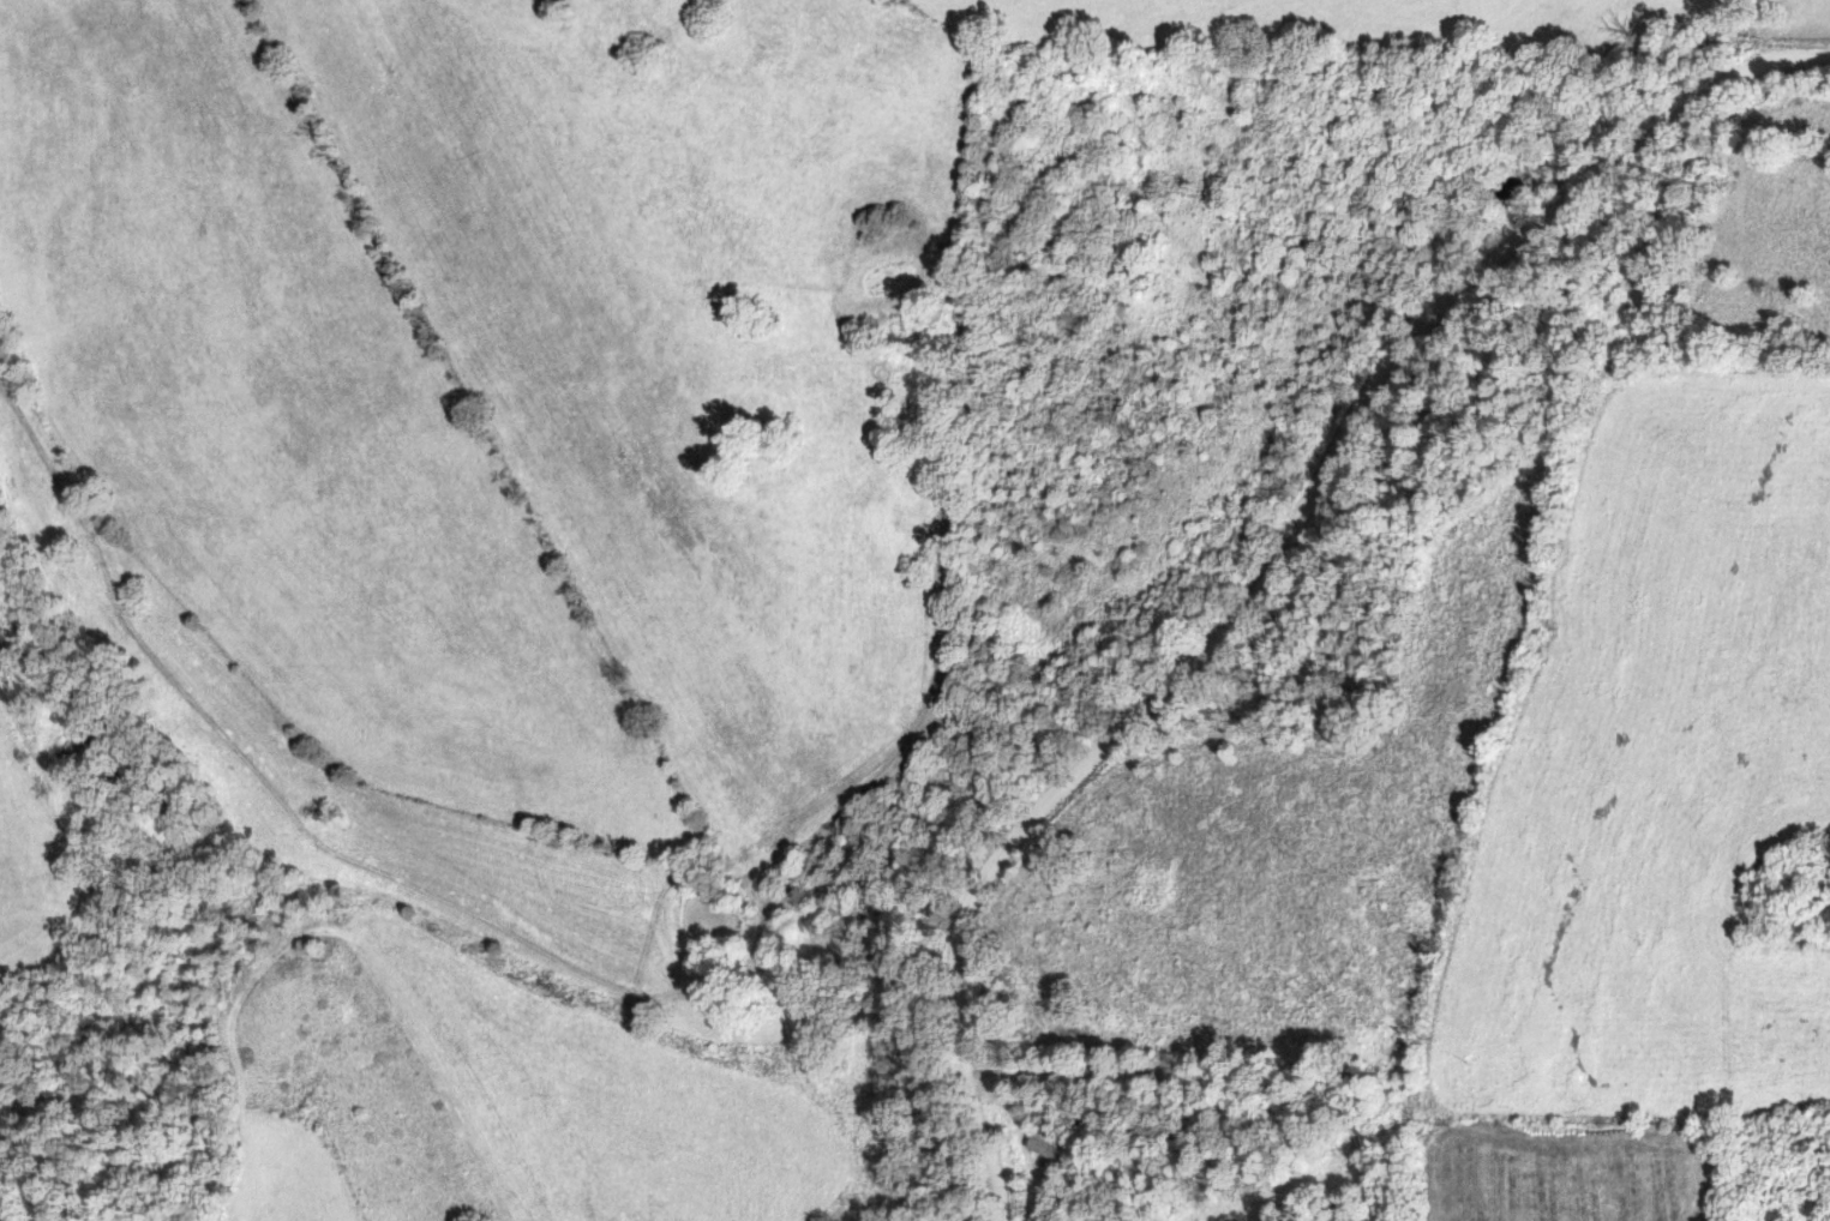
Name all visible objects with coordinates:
road: (1276, 567)
road: (1216, 1079)

